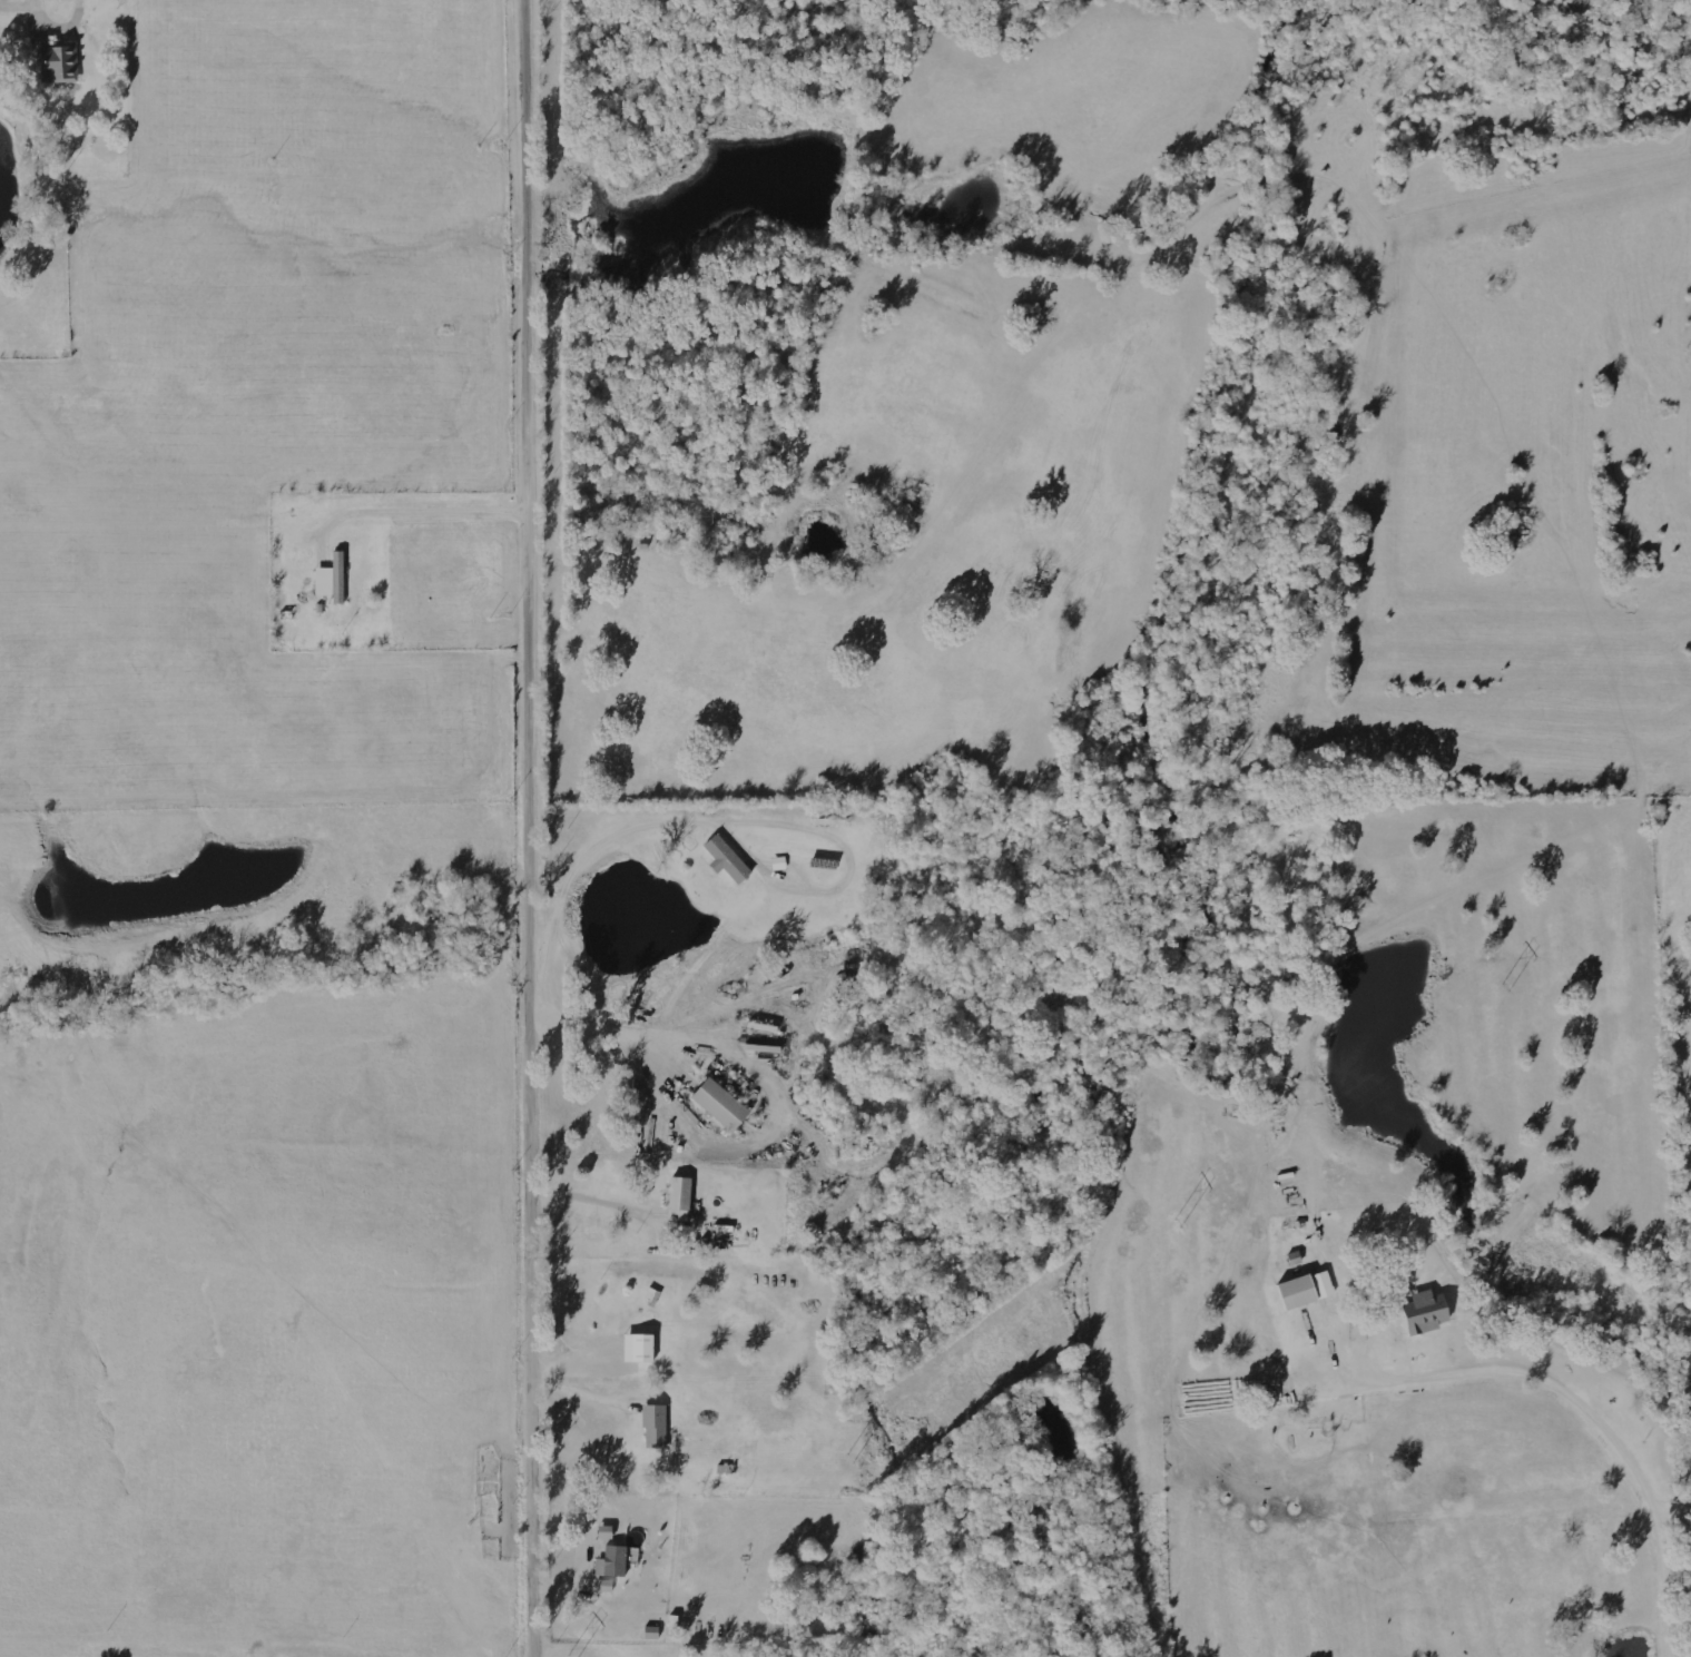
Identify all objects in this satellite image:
road: (451, 8)
building: (58, 59)
building: (332, 579)
road: (535, 828)
building: (727, 858)
building: (720, 1104)
road: (715, 1130)
building: (679, 1199)
road: (1561, 1229)
building: (1305, 1289)
building: (652, 1295)
building: (1426, 1312)
building: (638, 1348)
building: (655, 1426)
building: (603, 1532)
building: (612, 1561)

